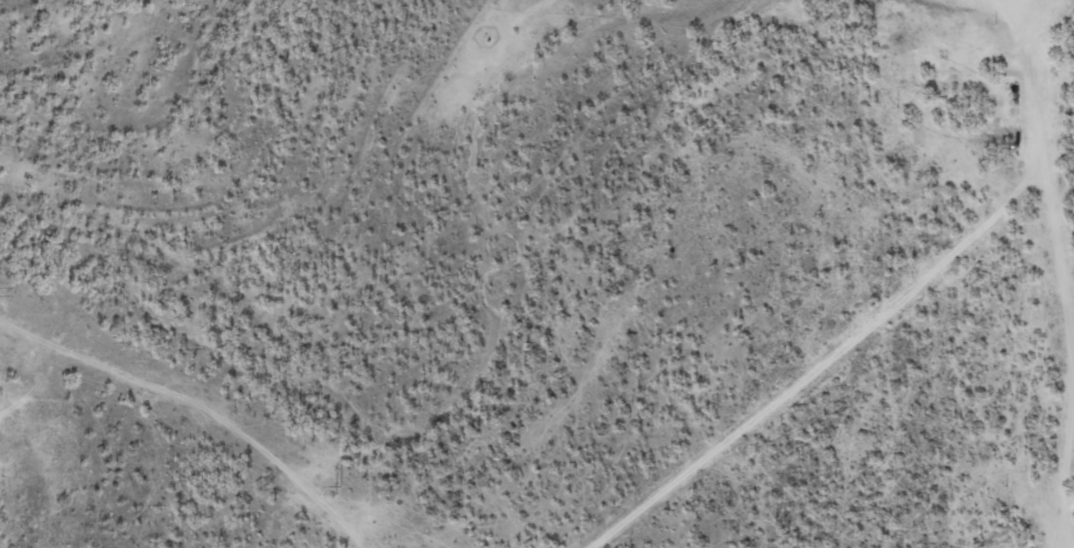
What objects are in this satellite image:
power tower: (342, 492)

